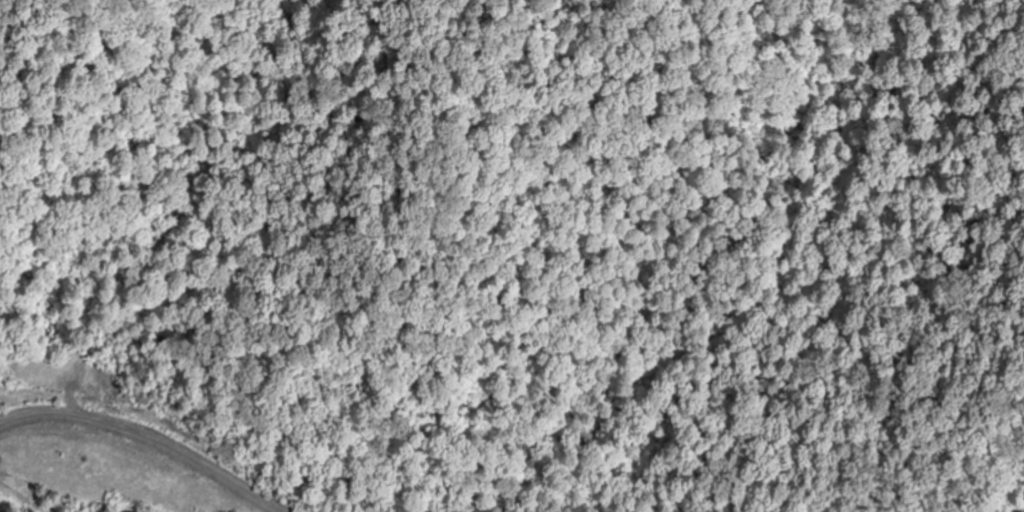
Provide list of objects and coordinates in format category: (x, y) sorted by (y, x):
road: (149, 436)

